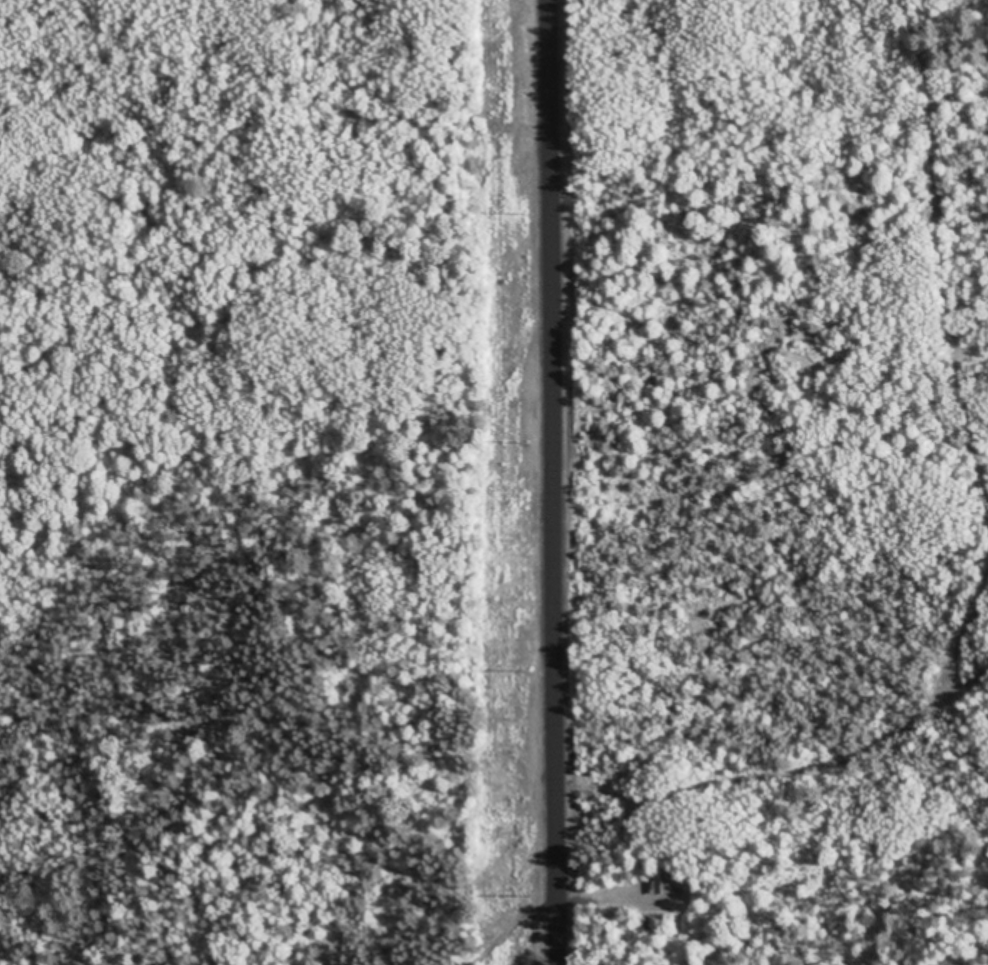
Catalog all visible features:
road: (525, 482)
building: (670, 883)
road: (485, 932)

